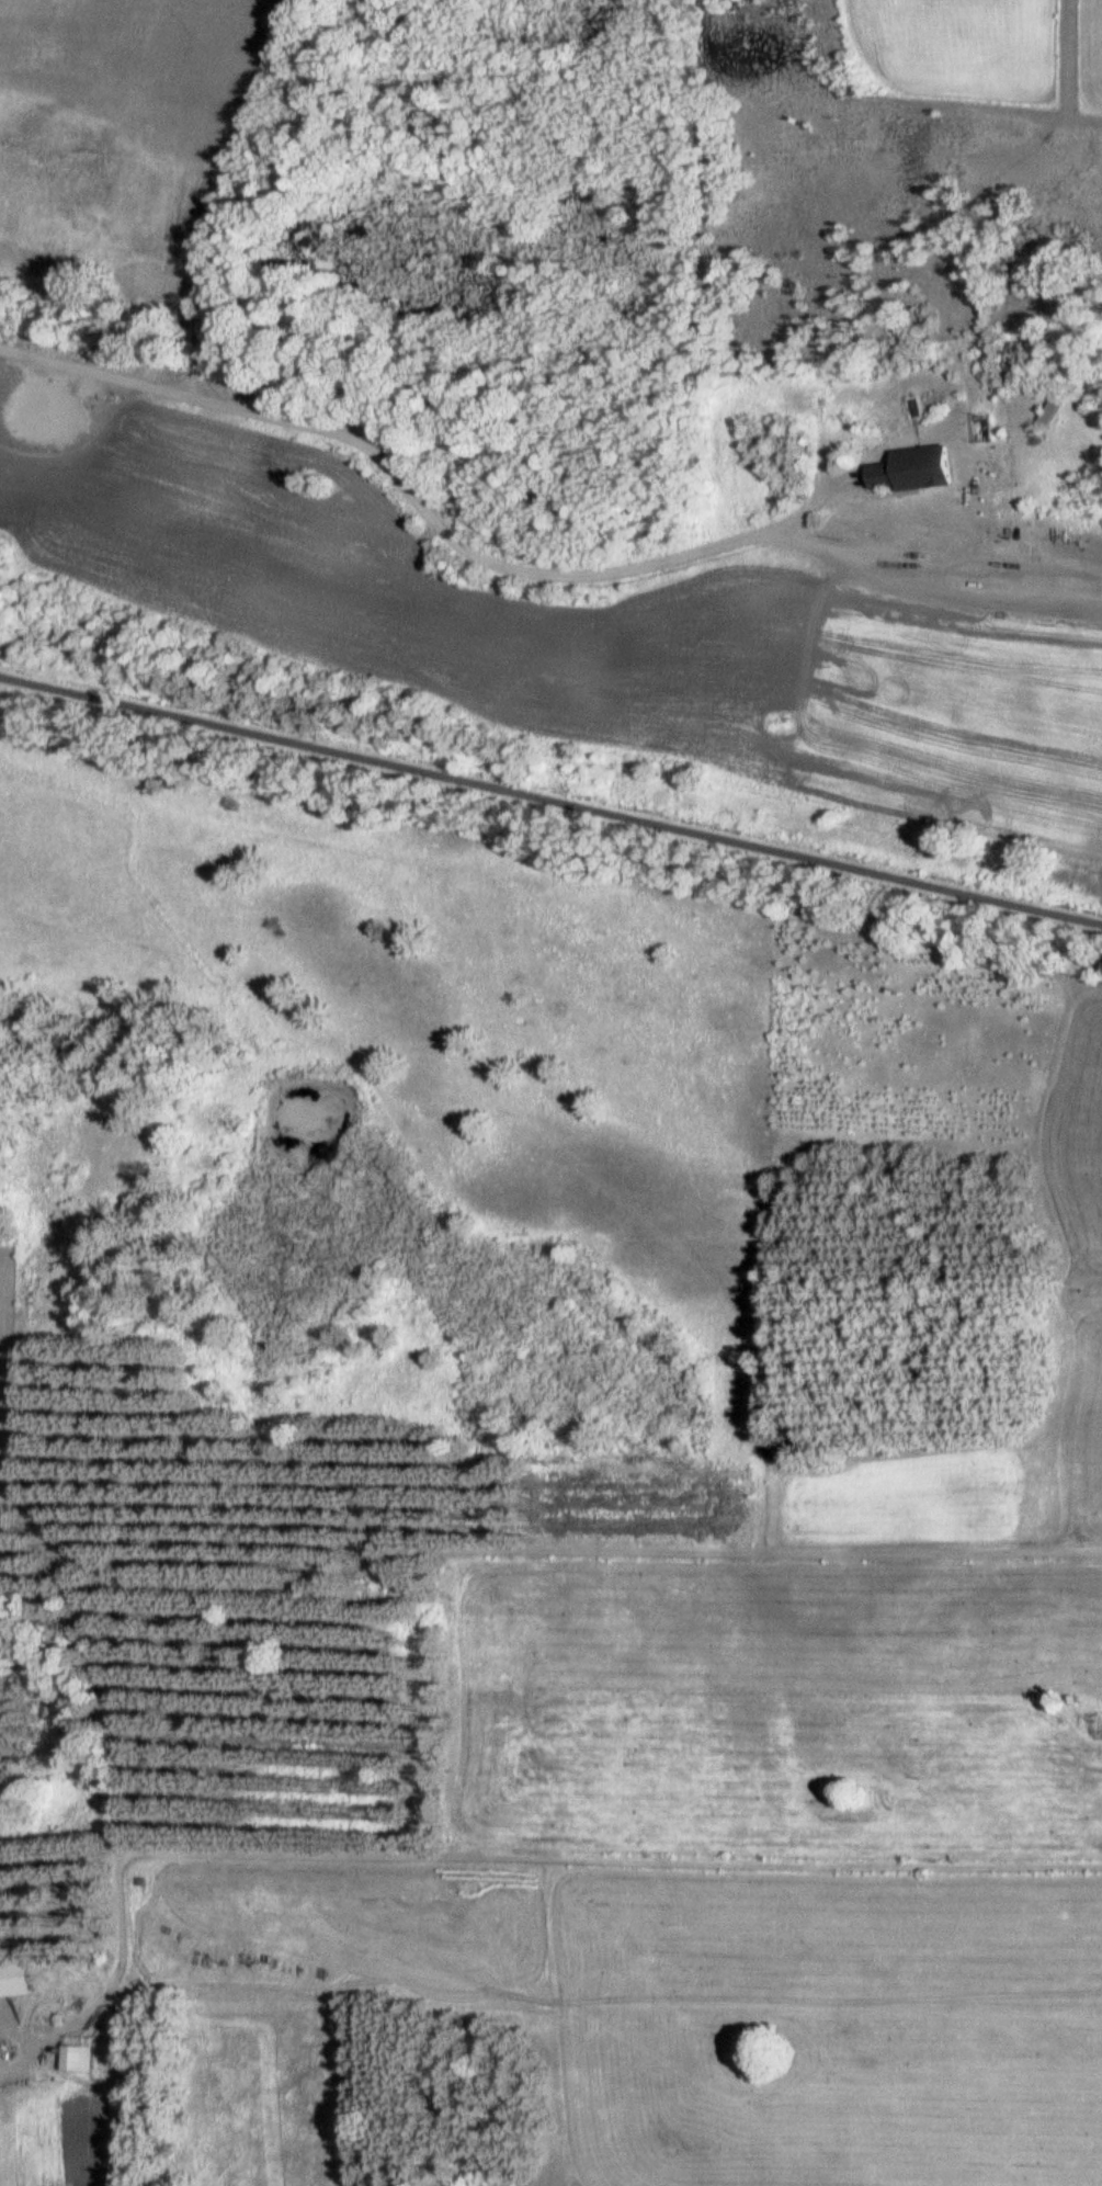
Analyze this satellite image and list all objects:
building: (1049, 414)
building: (914, 466)
road: (394, 469)
road: (810, 501)
road: (931, 575)
road: (1098, 597)
road: (550, 801)
road: (1, 1347)
park: (8, 1347)
building: (375, 1585)
building: (16, 1979)
building: (77, 2058)

